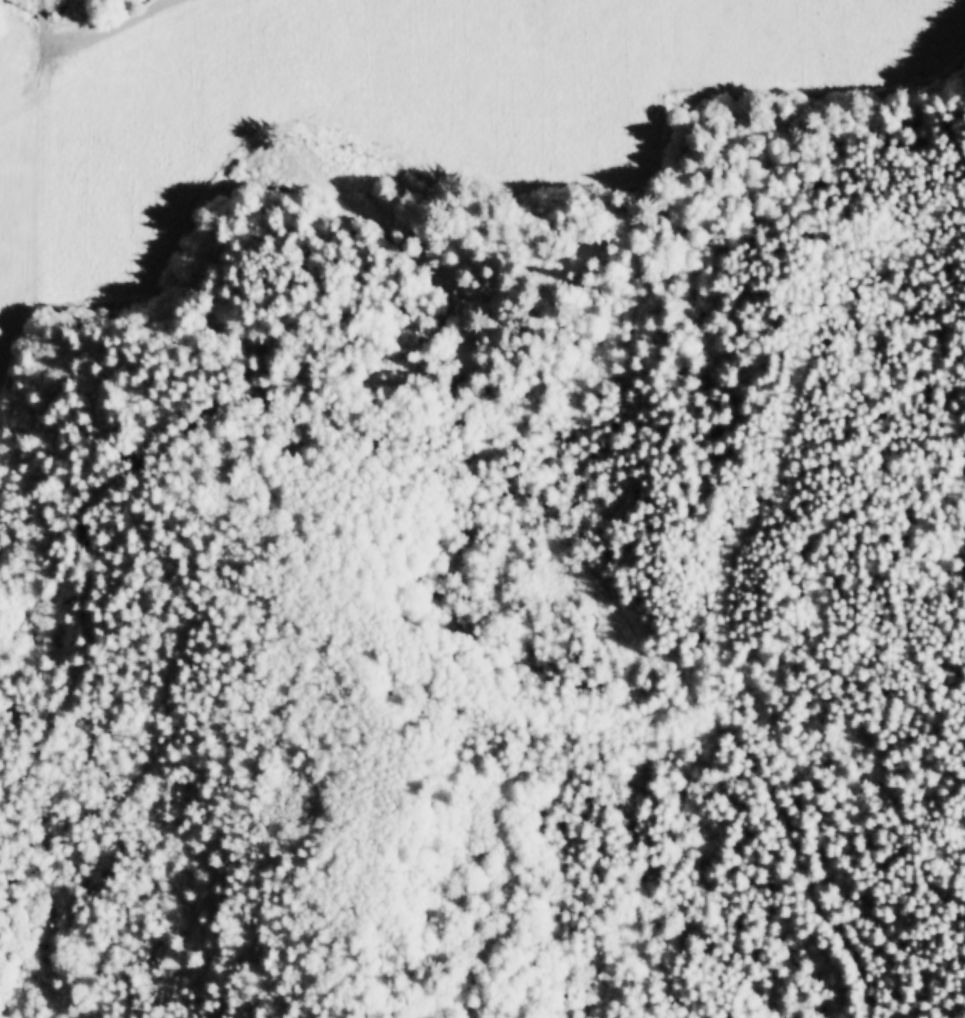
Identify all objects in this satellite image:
road: (705, 639)

